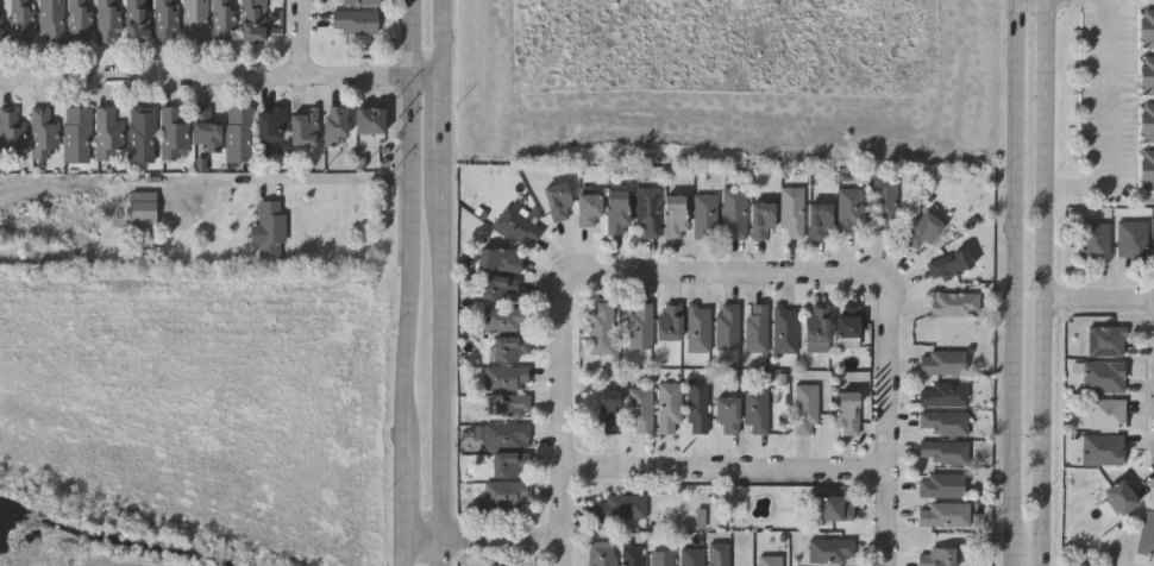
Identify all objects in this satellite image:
building: (357, 1)
building: (221, 20)
building: (20, 21)
building: (50, 21)
building: (79, 21)
building: (107, 21)
building: (136, 21)
building: (164, 21)
building: (195, 21)
building: (251, 21)
building: (353, 21)
building: (1147, 27)
building: (1, 31)
road: (303, 38)
building: (1147, 75)
road: (222, 77)
building: (369, 120)
building: (1147, 121)
building: (333, 125)
road: (1108, 126)
building: (302, 127)
building: (12, 130)
building: (206, 130)
building: (269, 131)
building: (173, 132)
building: (107, 133)
building: (43, 134)
building: (76, 134)
building: (142, 134)
building: (238, 134)
road: (297, 166)
building: (1148, 168)
building: (557, 201)
building: (884, 202)
building: (587, 209)
building: (142, 210)
building: (615, 210)
building: (848, 210)
building: (790, 212)
building: (646, 213)
building: (733, 213)
building: (673, 216)
building: (704, 216)
building: (760, 221)
building: (819, 221)
road: (413, 222)
building: (518, 225)
building: (270, 228)
building: (922, 231)
building: (1130, 238)
building: (1092, 240)
building: (498, 259)
building: (948, 264)
road: (1016, 270)
road: (738, 273)
road: (446, 282)
road: (1043, 282)
building: (497, 288)
road: (1098, 301)
building: (953, 304)
building: (502, 319)
building: (669, 322)
building: (639, 326)
building: (847, 326)
building: (726, 327)
building: (697, 328)
building: (755, 328)
building: (600, 329)
building: (816, 329)
building: (784, 331)
building: (1104, 340)
building: (508, 347)
building: (941, 361)
building: (1103, 376)
building: (506, 377)
building: (943, 395)
building: (506, 405)
building: (697, 405)
building: (669, 407)
building: (804, 407)
building: (608, 410)
building: (639, 410)
building: (754, 410)
building: (851, 410)
road: (567, 413)
building: (726, 413)
building: (1105, 413)
building: (942, 422)
road: (891, 423)
building: (503, 435)
building: (1100, 448)
building: (942, 452)
building: (508, 464)
road: (729, 471)
building: (943, 485)
building: (503, 492)
building: (1118, 496)
road: (403, 505)
building: (620, 507)
building: (834, 508)
building: (945, 515)
building: (1146, 533)
road: (485, 539)
building: (830, 551)
building: (601, 553)
building: (717, 554)
road: (1017, 554)
building: (632, 555)
building: (691, 556)
building: (935, 556)
building: (661, 559)
building: (770, 560)
building: (498, 565)

